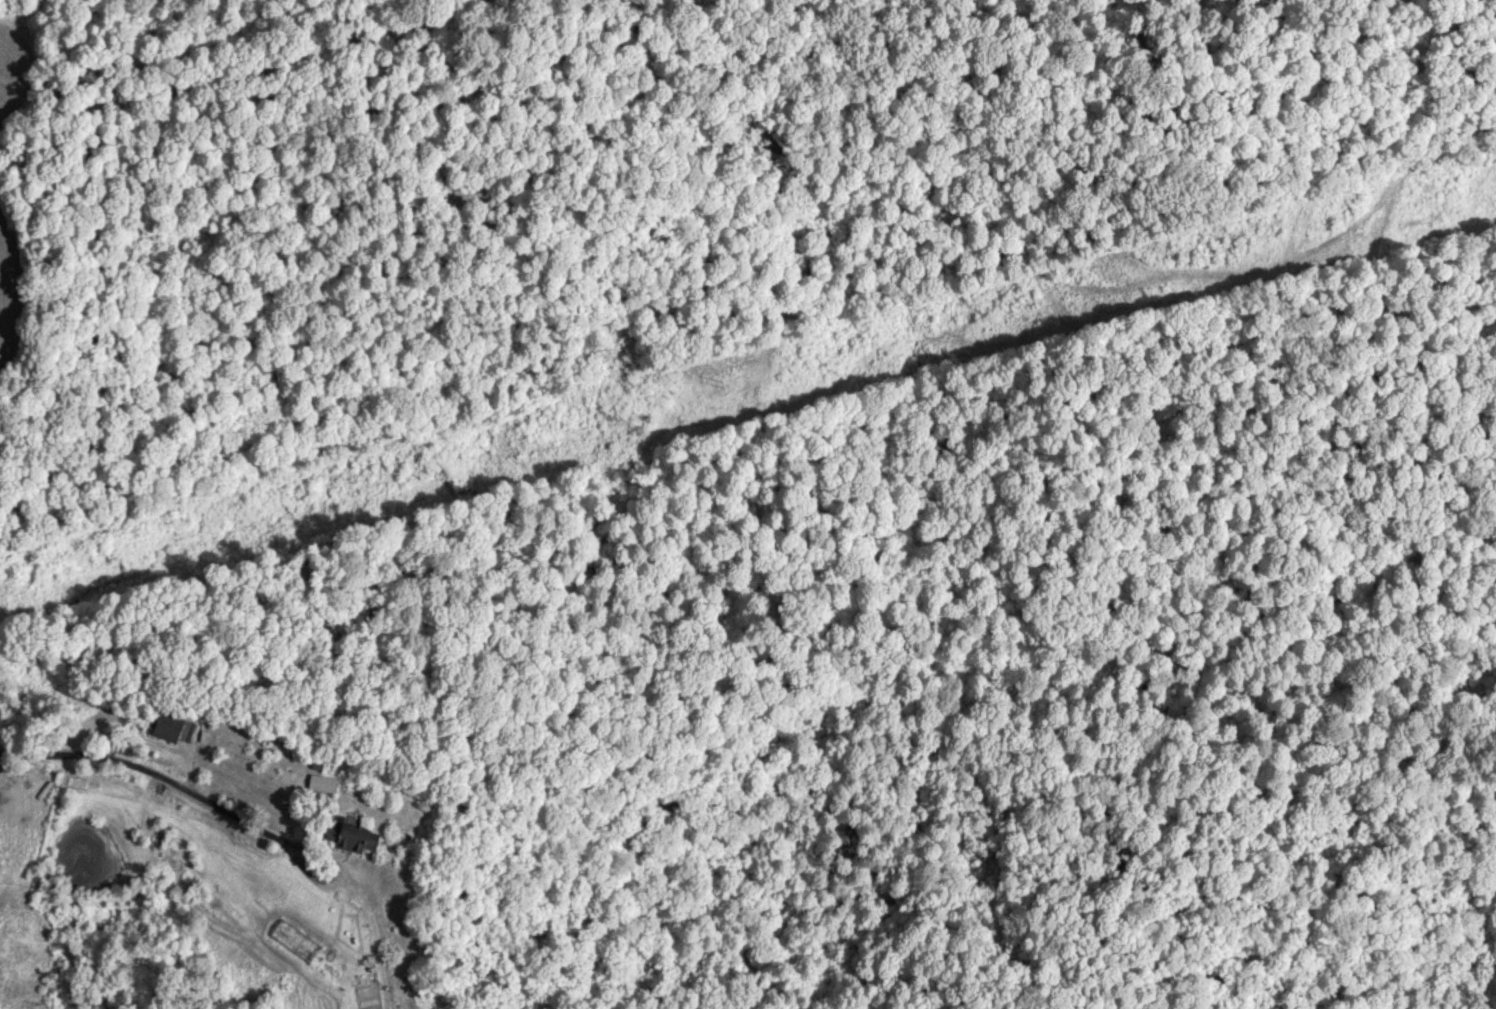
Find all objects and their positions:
building: (159, 724)
building: (318, 782)
road: (145, 793)
building: (346, 835)
road: (225, 862)

